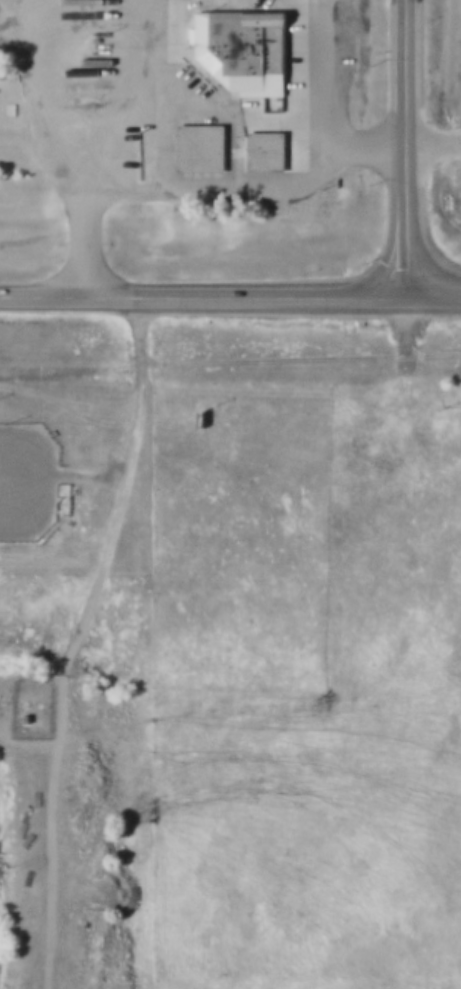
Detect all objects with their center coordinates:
building: (236, 48)
building: (91, 61)
road: (410, 92)
road: (326, 114)
building: (195, 148)
building: (260, 151)
road: (436, 177)
road: (411, 240)
road: (436, 293)
road: (205, 294)
road: (76, 638)
building: (18, 715)

